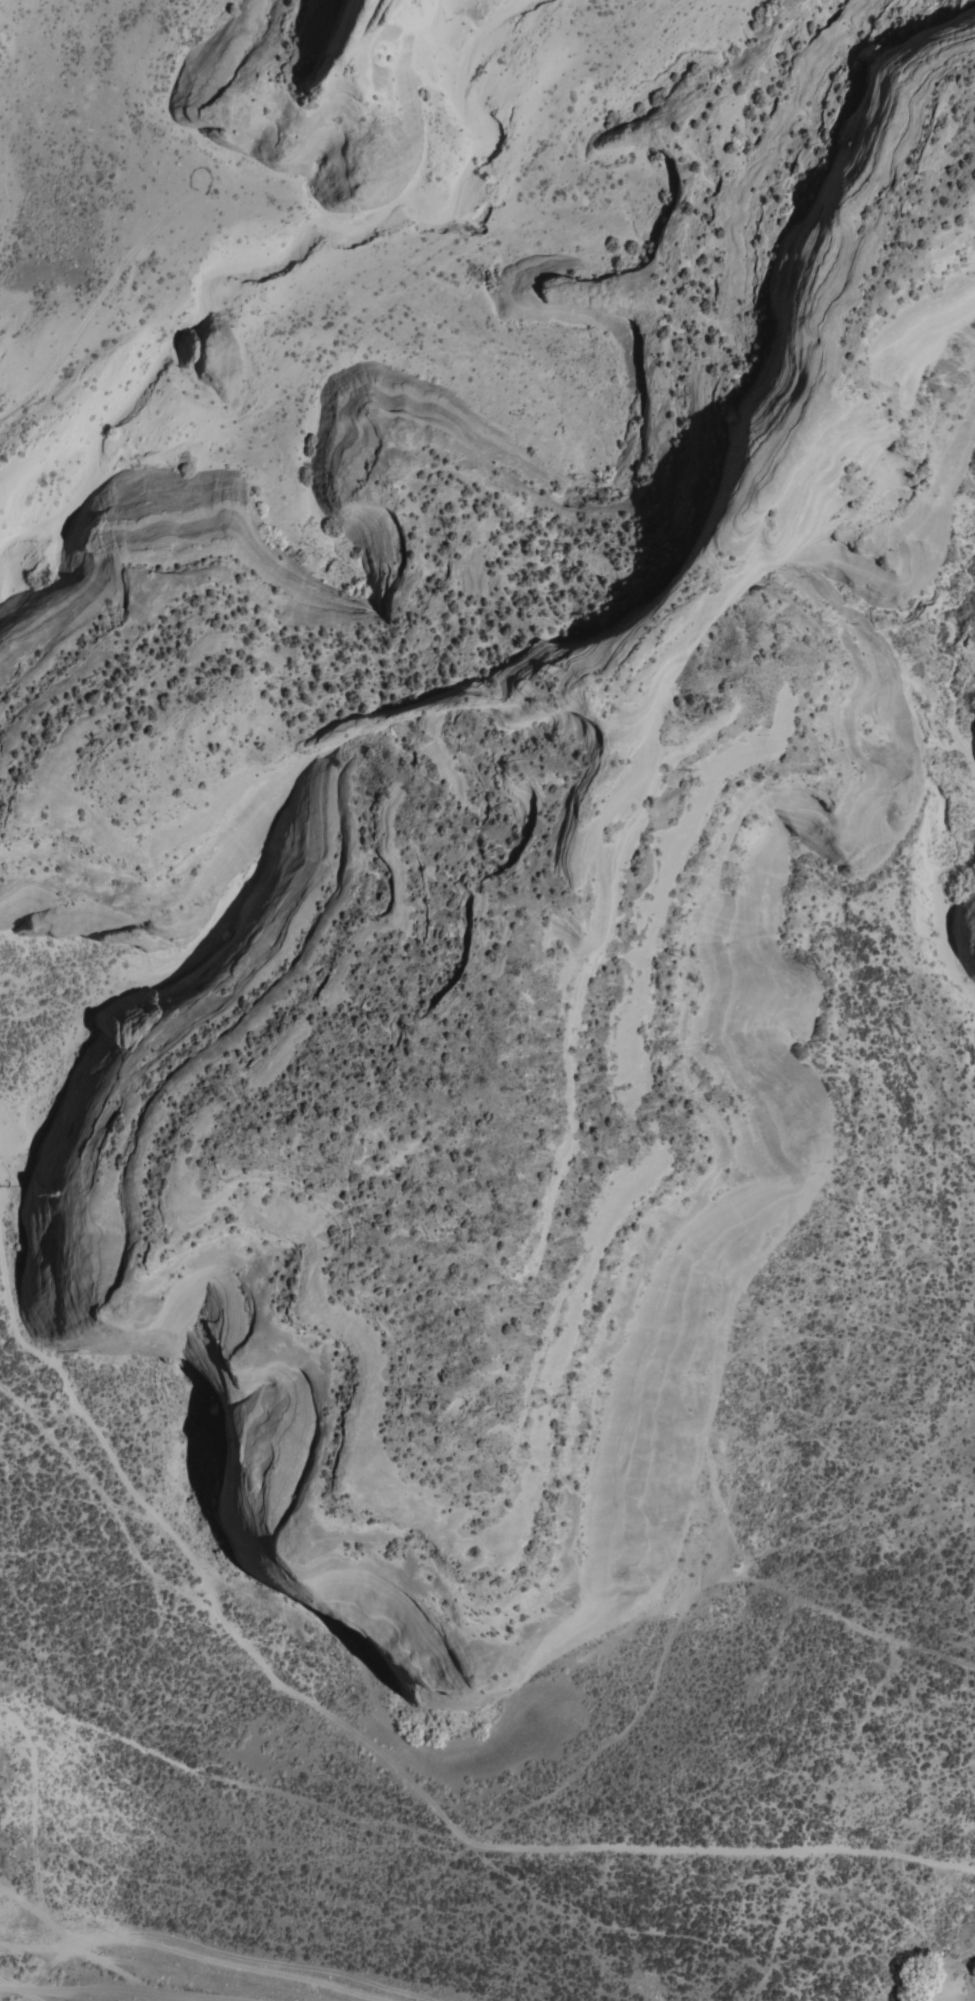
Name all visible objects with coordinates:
road: (103, 1981)
road: (155, 1996)

